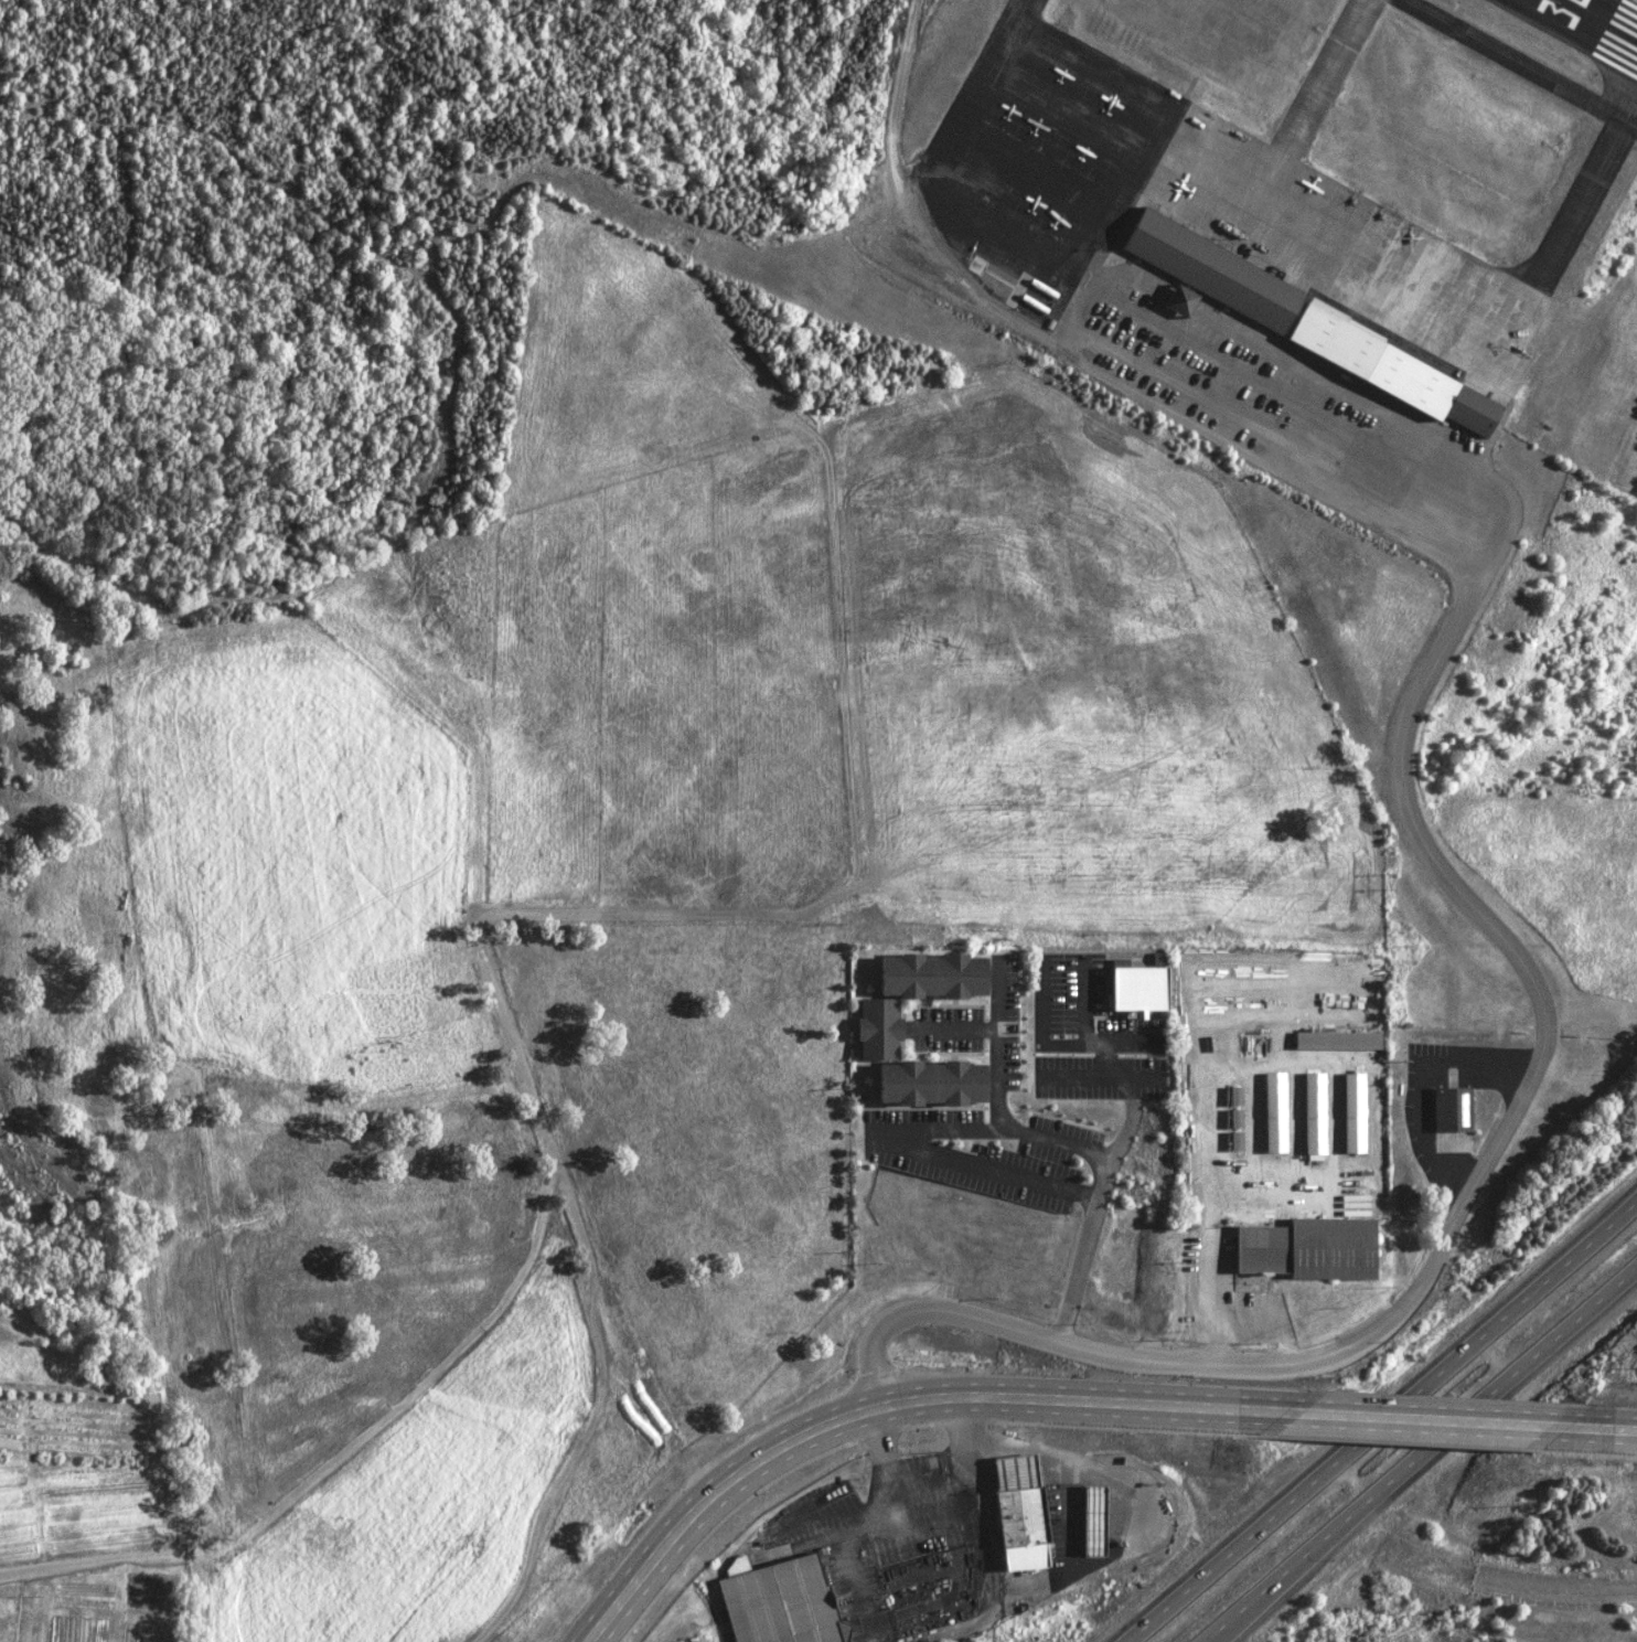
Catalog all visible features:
airport runway: (1631, 2)
airport taxiway: (1028, 4)
airport runway: (1560, 42)
airport taxiway: (1518, 64)
airport taxiway: (1326, 77)
airport taxiway: (1584, 193)
airport apron: (1169, 207)
airport: (1208, 234)
building: (1177, 300)
airport terminal: (1305, 324)
building: (1305, 324)
building: (1135, 989)
road: (1540, 994)
building: (876, 1021)
building: (1334, 1041)
road: (1116, 1070)
building: (1448, 1110)
building: (1271, 1112)
building: (1310, 1113)
building: (1350, 1113)
road: (1067, 1143)
building: (1232, 1143)
building: (1305, 1249)
road: (900, 1405)
road: (1422, 1419)
road: (1376, 1420)
road: (1592, 1428)
road: (1064, 1456)
road: (1423, 1456)
building: (1017, 1513)
building: (1090, 1518)
building: (775, 1603)
building: (691, 1641)

